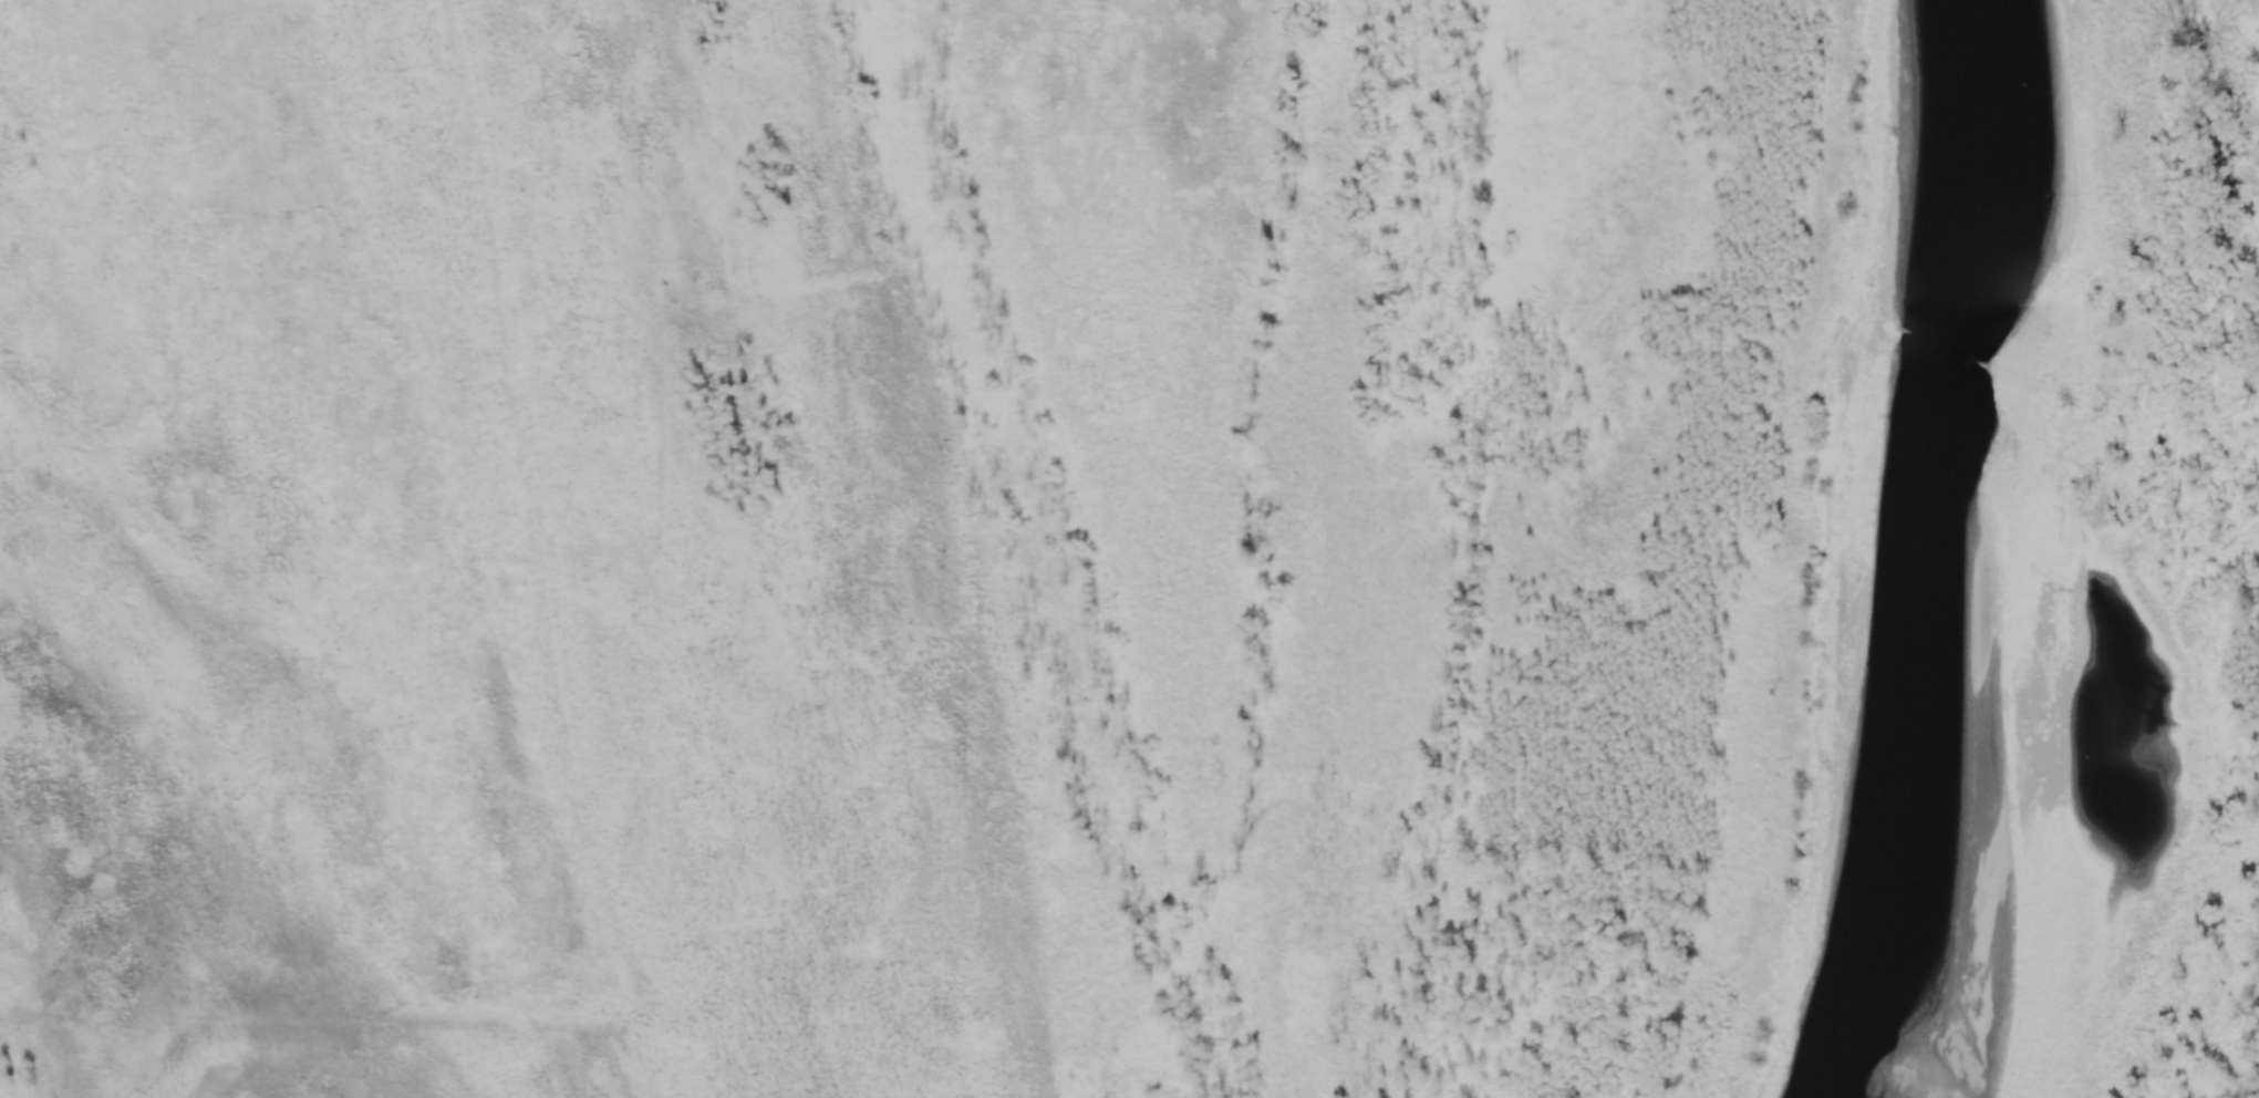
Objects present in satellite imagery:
road: (1791, 548)

